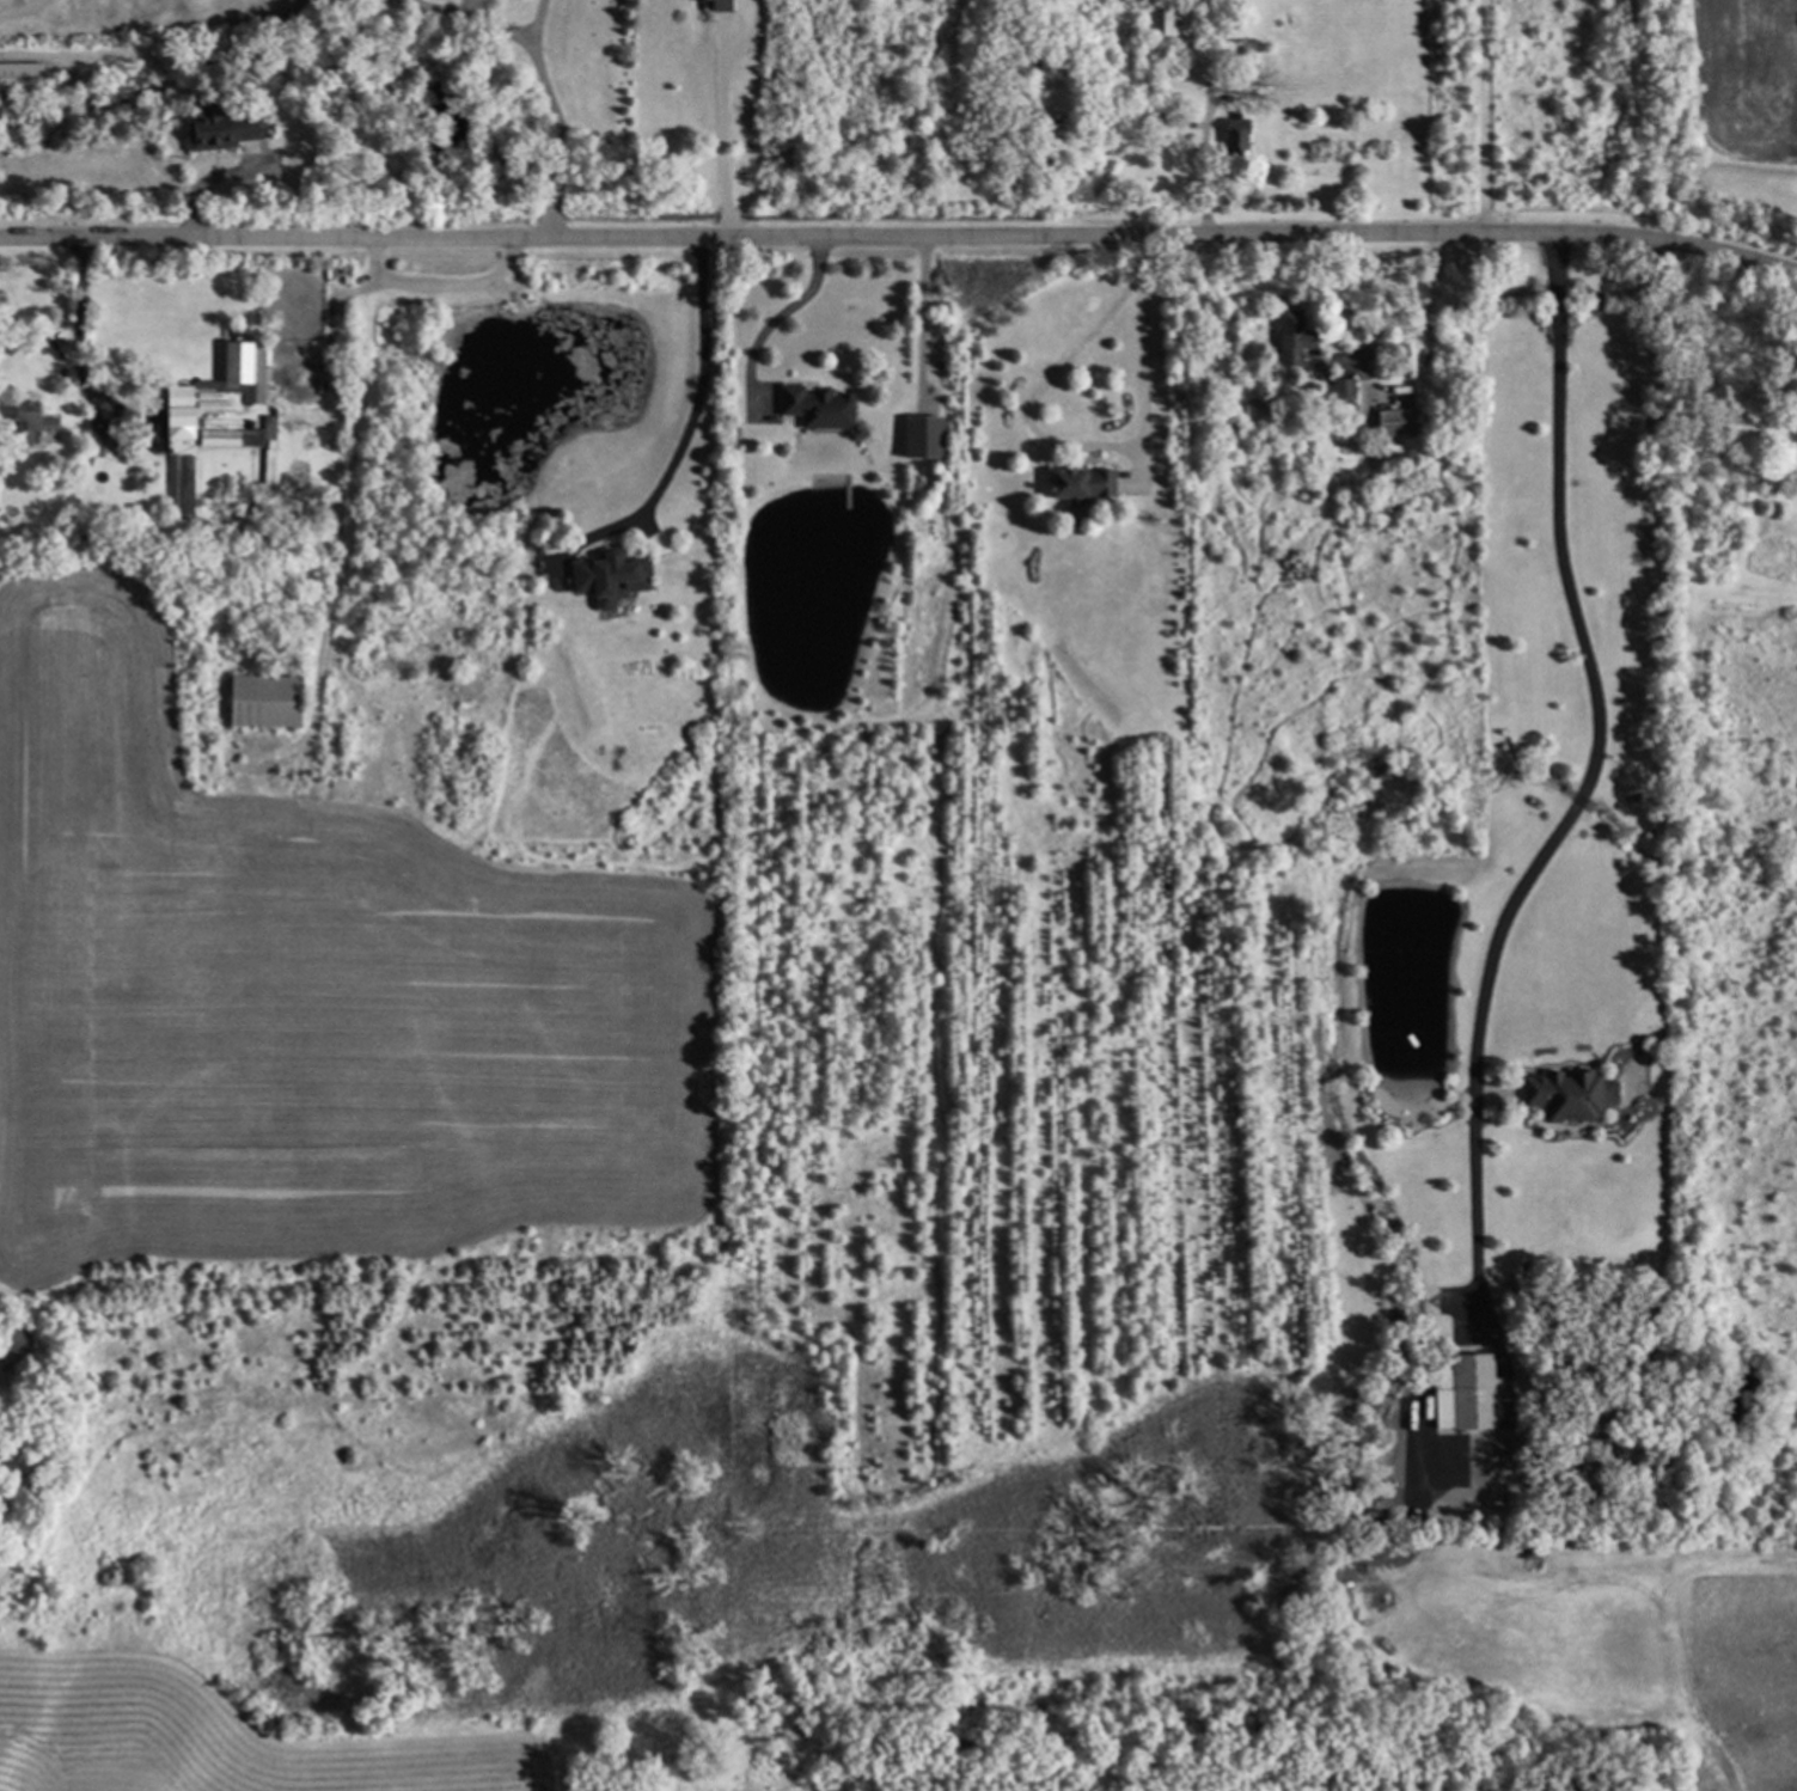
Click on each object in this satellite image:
building: (681, 0)
building: (717, 6)
road: (23, 11)
road: (538, 17)
road: (499, 24)
building: (1167, 25)
building: (20, 78)
road: (1480, 117)
road: (727, 128)
building: (218, 130)
road: (560, 134)
building: (1230, 139)
road: (900, 238)
road: (776, 317)
road: (921, 318)
road: (1424, 318)
road: (65, 325)
building: (1285, 338)
building: (1339, 390)
building: (812, 409)
road: (691, 411)
building: (175, 412)
building: (25, 421)
building: (1390, 423)
building: (267, 427)
building: (916, 439)
road: (1089, 444)
building: (1076, 485)
building: (603, 577)
road: (1595, 678)
building: (258, 701)
building: (1565, 1095)
building: (1461, 1393)

